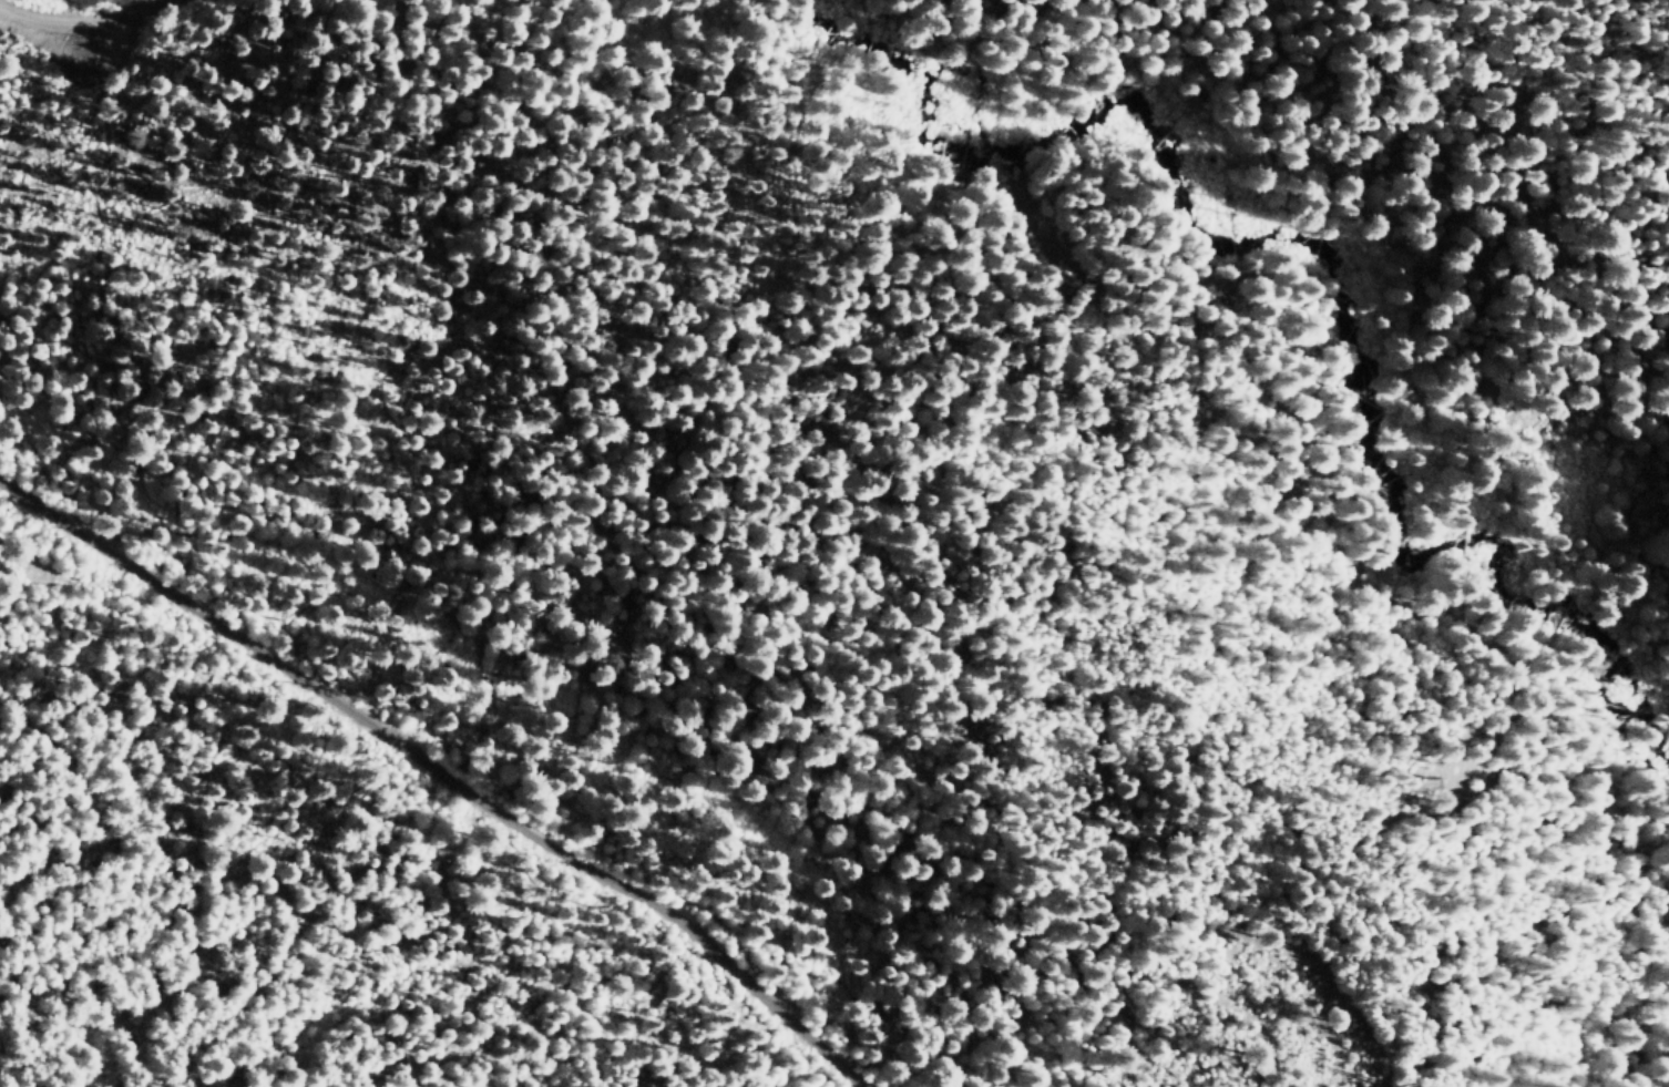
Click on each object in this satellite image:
road: (105, 29)
road: (487, 767)

